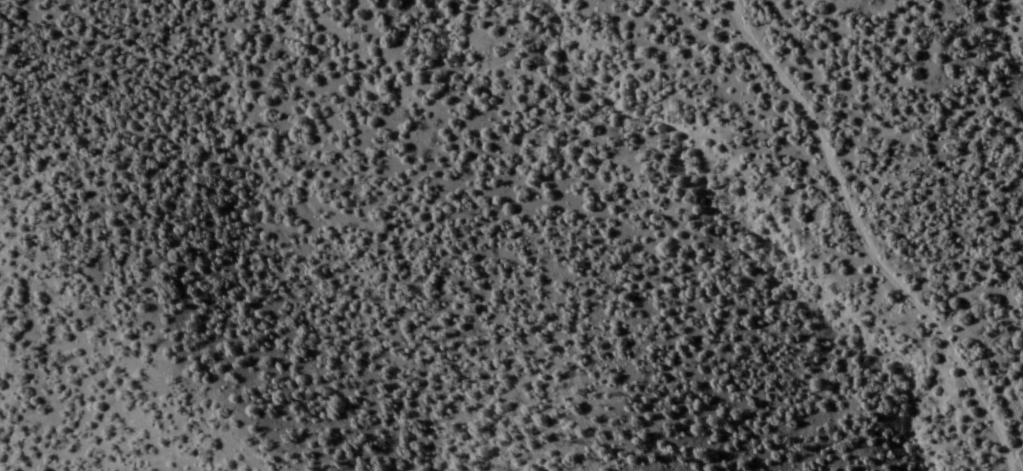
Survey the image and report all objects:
road: (873, 235)

